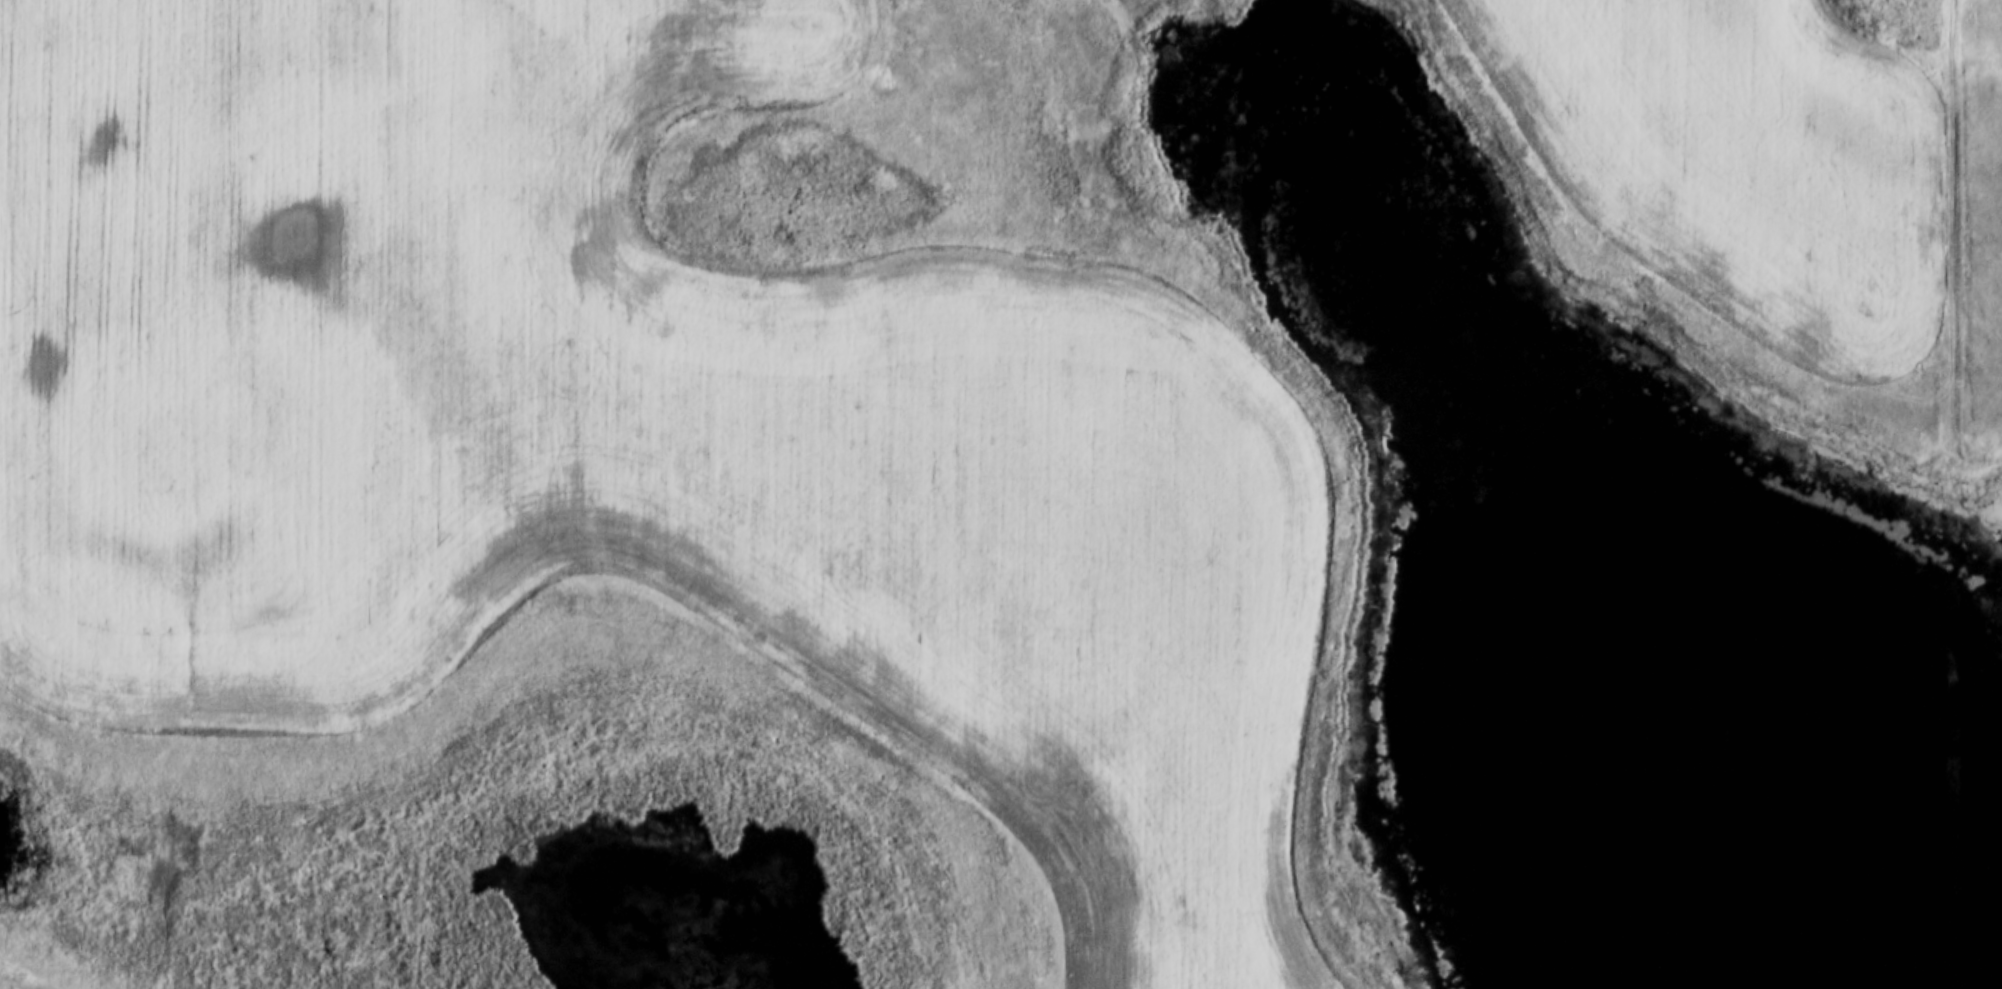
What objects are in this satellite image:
road: (1951, 243)

